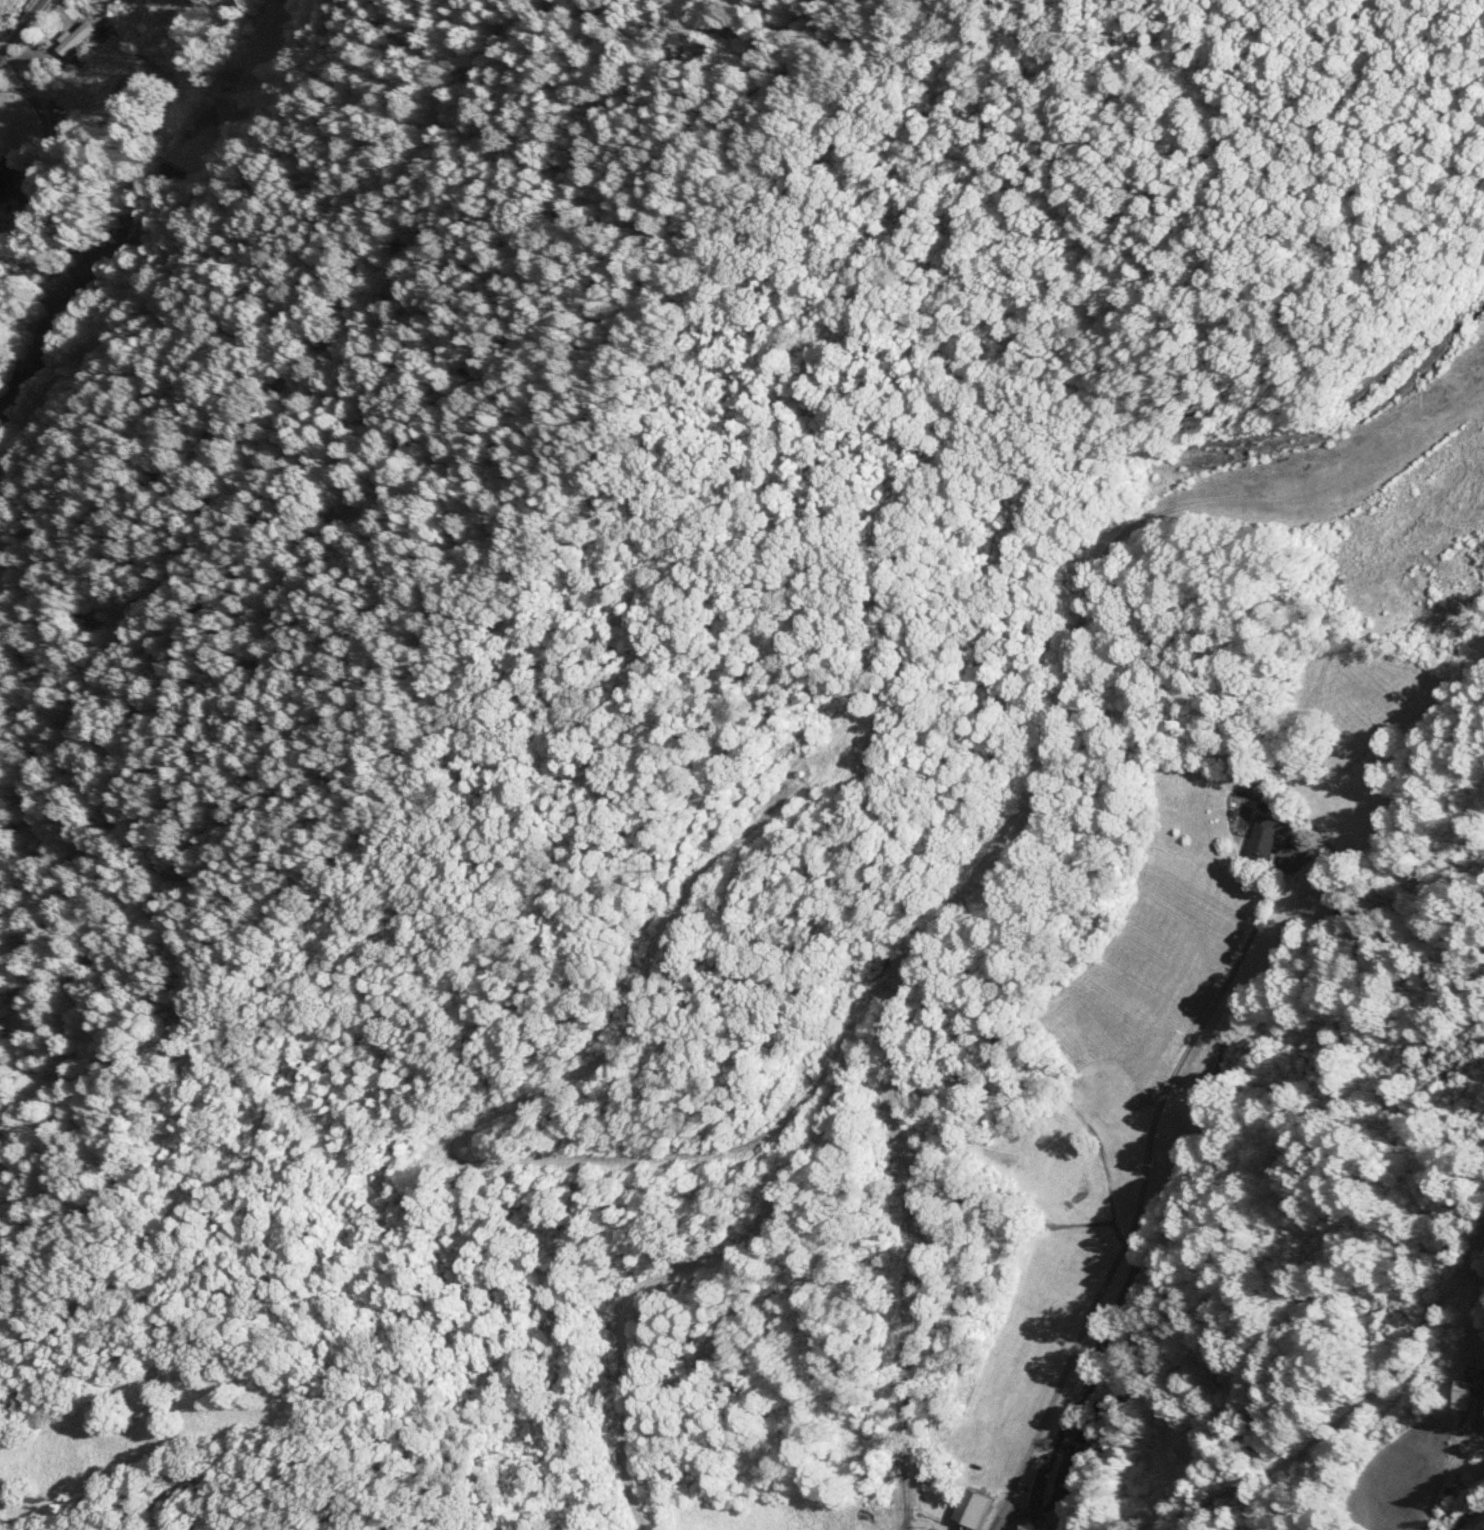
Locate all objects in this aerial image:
building: (75, 39)
road: (37, 52)
building: (136, 86)
building: (9, 176)
building: (1268, 837)
road: (1365, 1386)
building: (1465, 1391)
building: (1076, 1470)
building: (975, 1509)
road: (878, 1512)

